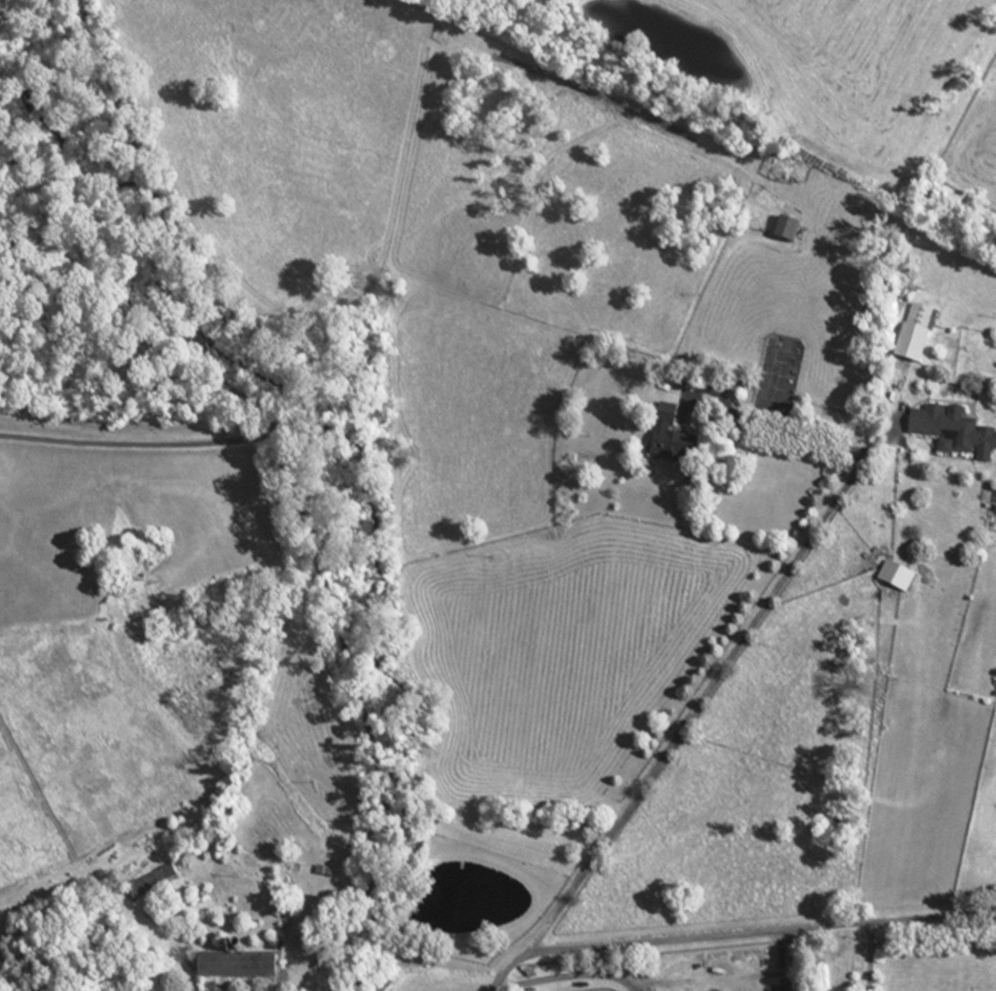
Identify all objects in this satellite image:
road: (162, 224)
building: (782, 231)
building: (707, 316)
building: (912, 334)
park: (780, 375)
road: (897, 416)
building: (951, 433)
road: (785, 437)
building: (667, 438)
building: (893, 578)
road: (328, 587)
road: (697, 705)
building: (147, 884)
road: (735, 931)
road: (867, 955)
building: (231, 969)
road: (567, 975)

